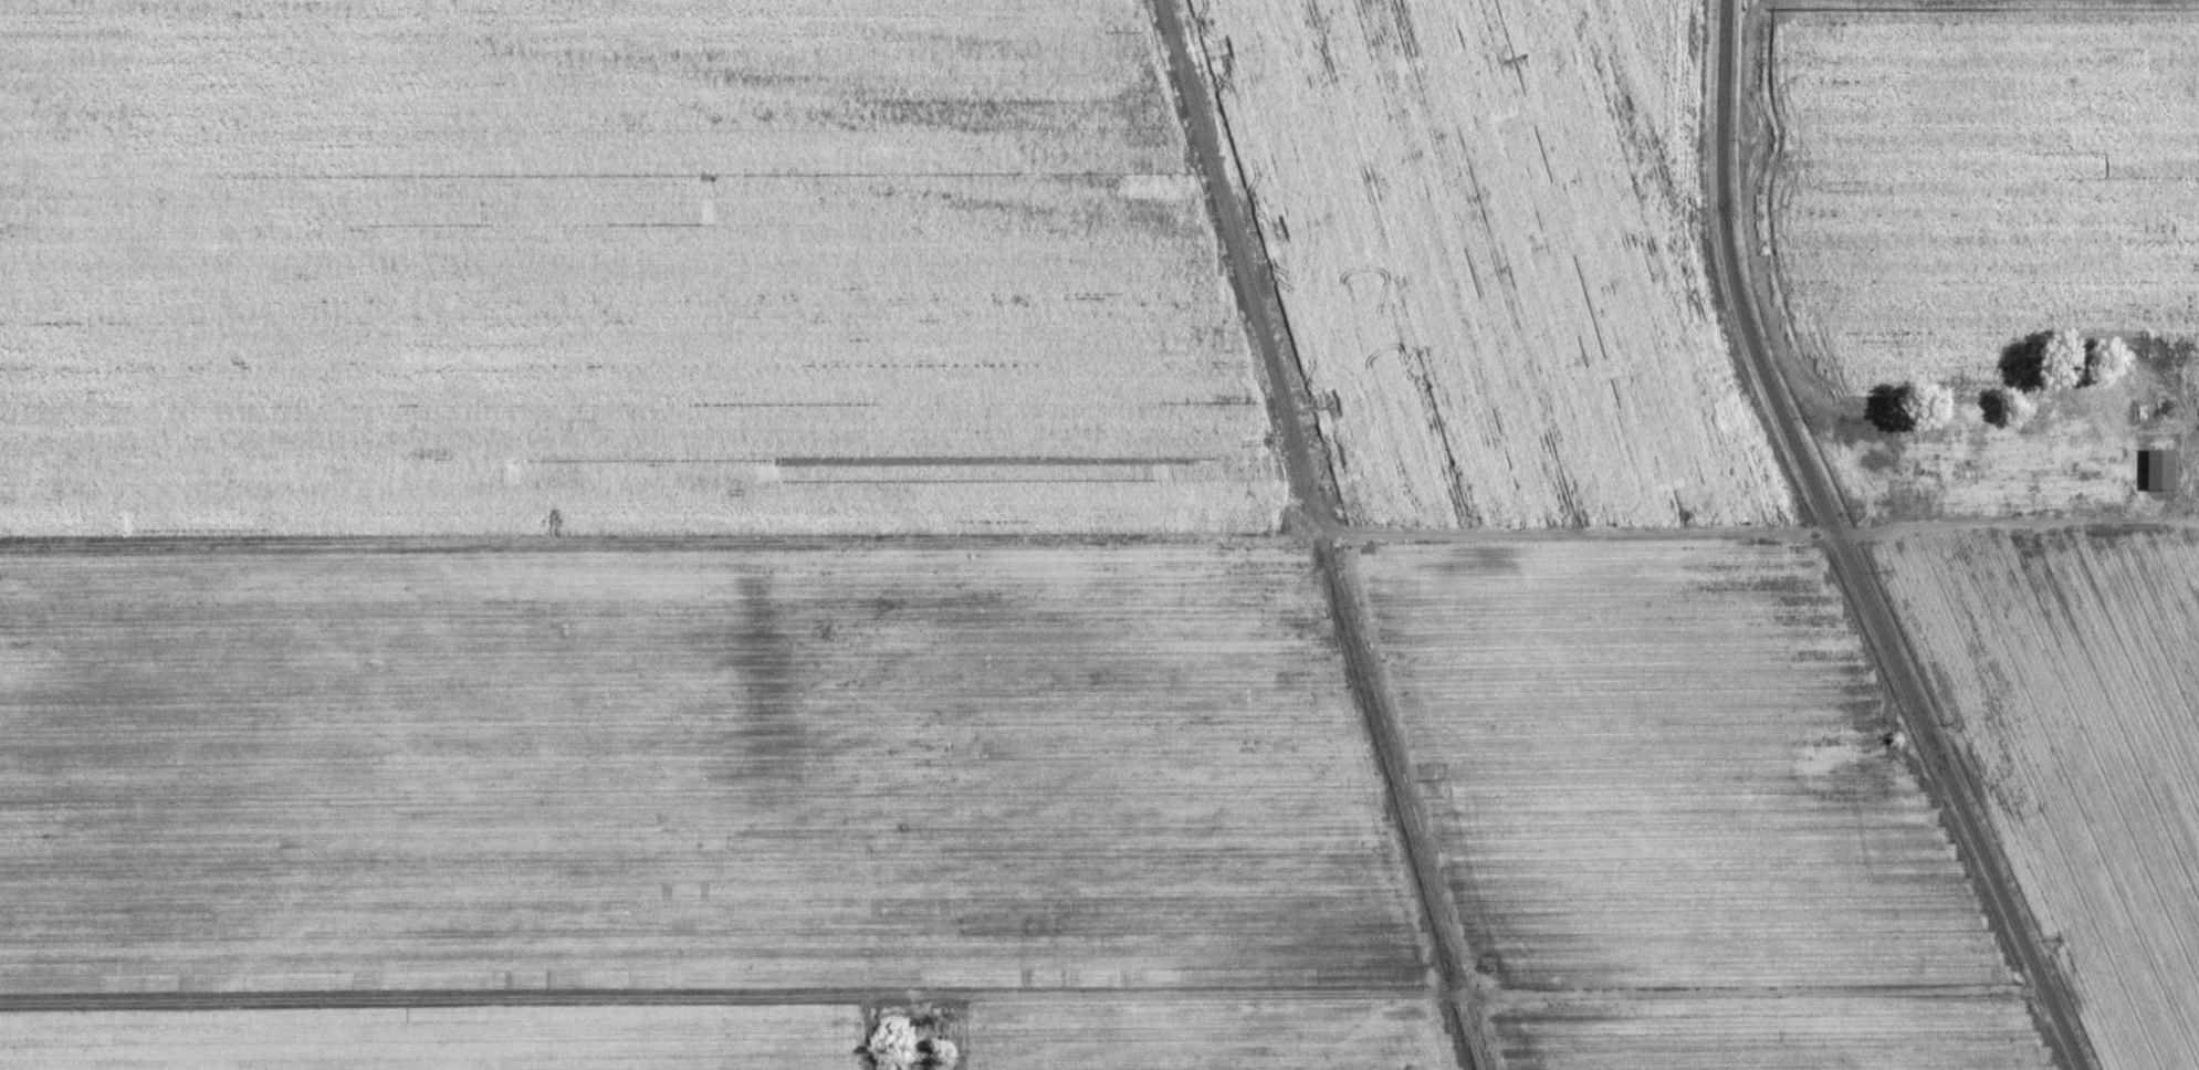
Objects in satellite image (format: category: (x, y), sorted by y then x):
building: (2160, 470)
road: (1100, 542)
road: (1840, 549)
road: (1022, 998)

